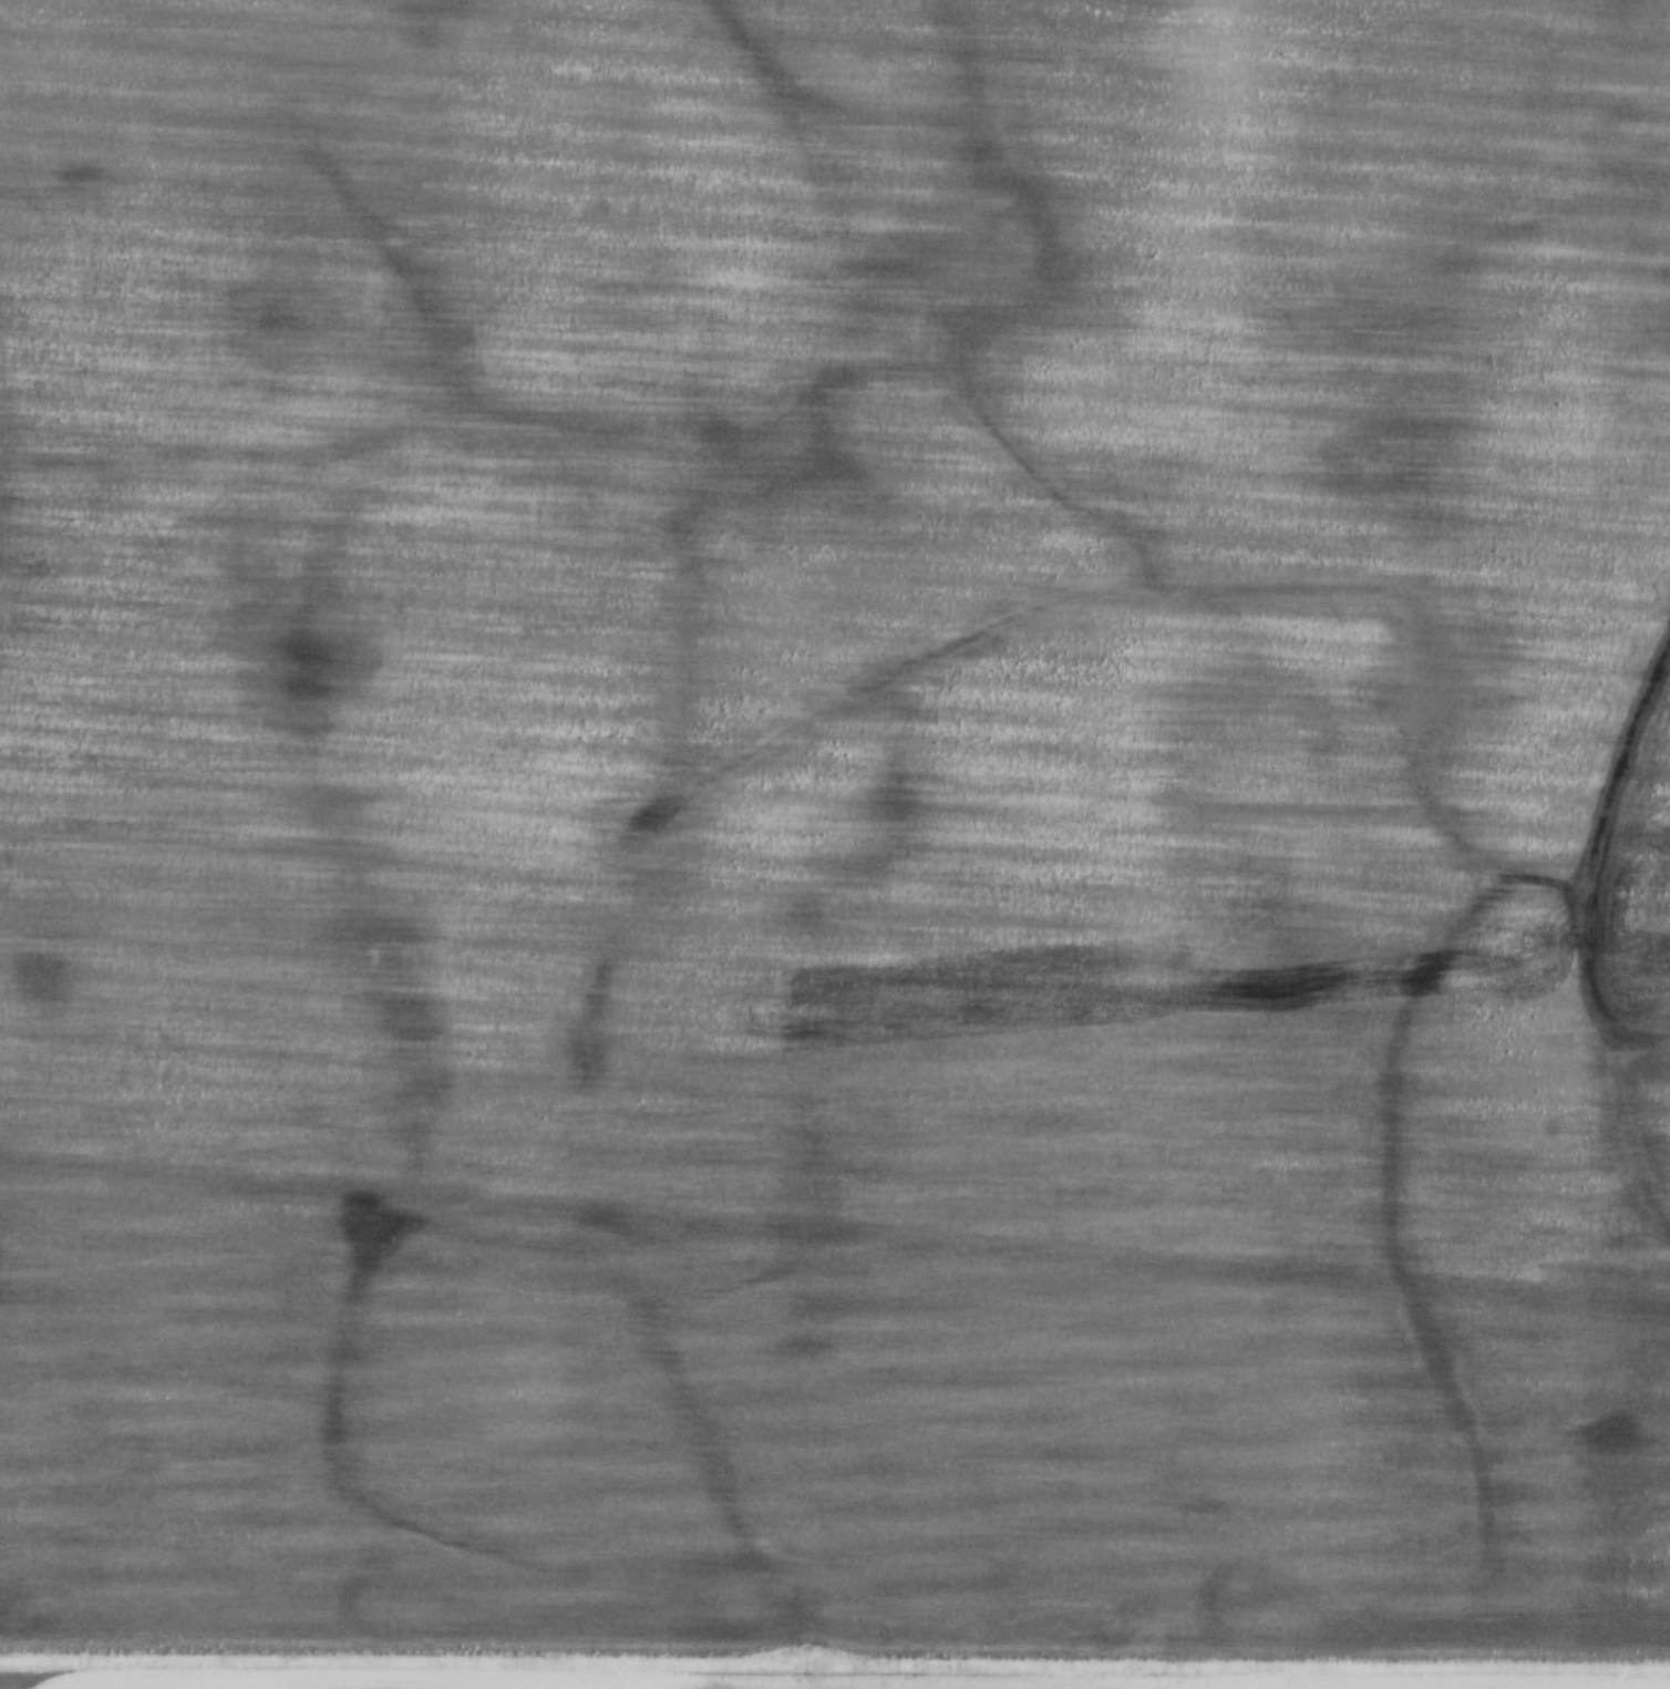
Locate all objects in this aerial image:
road: (834, 1667)

